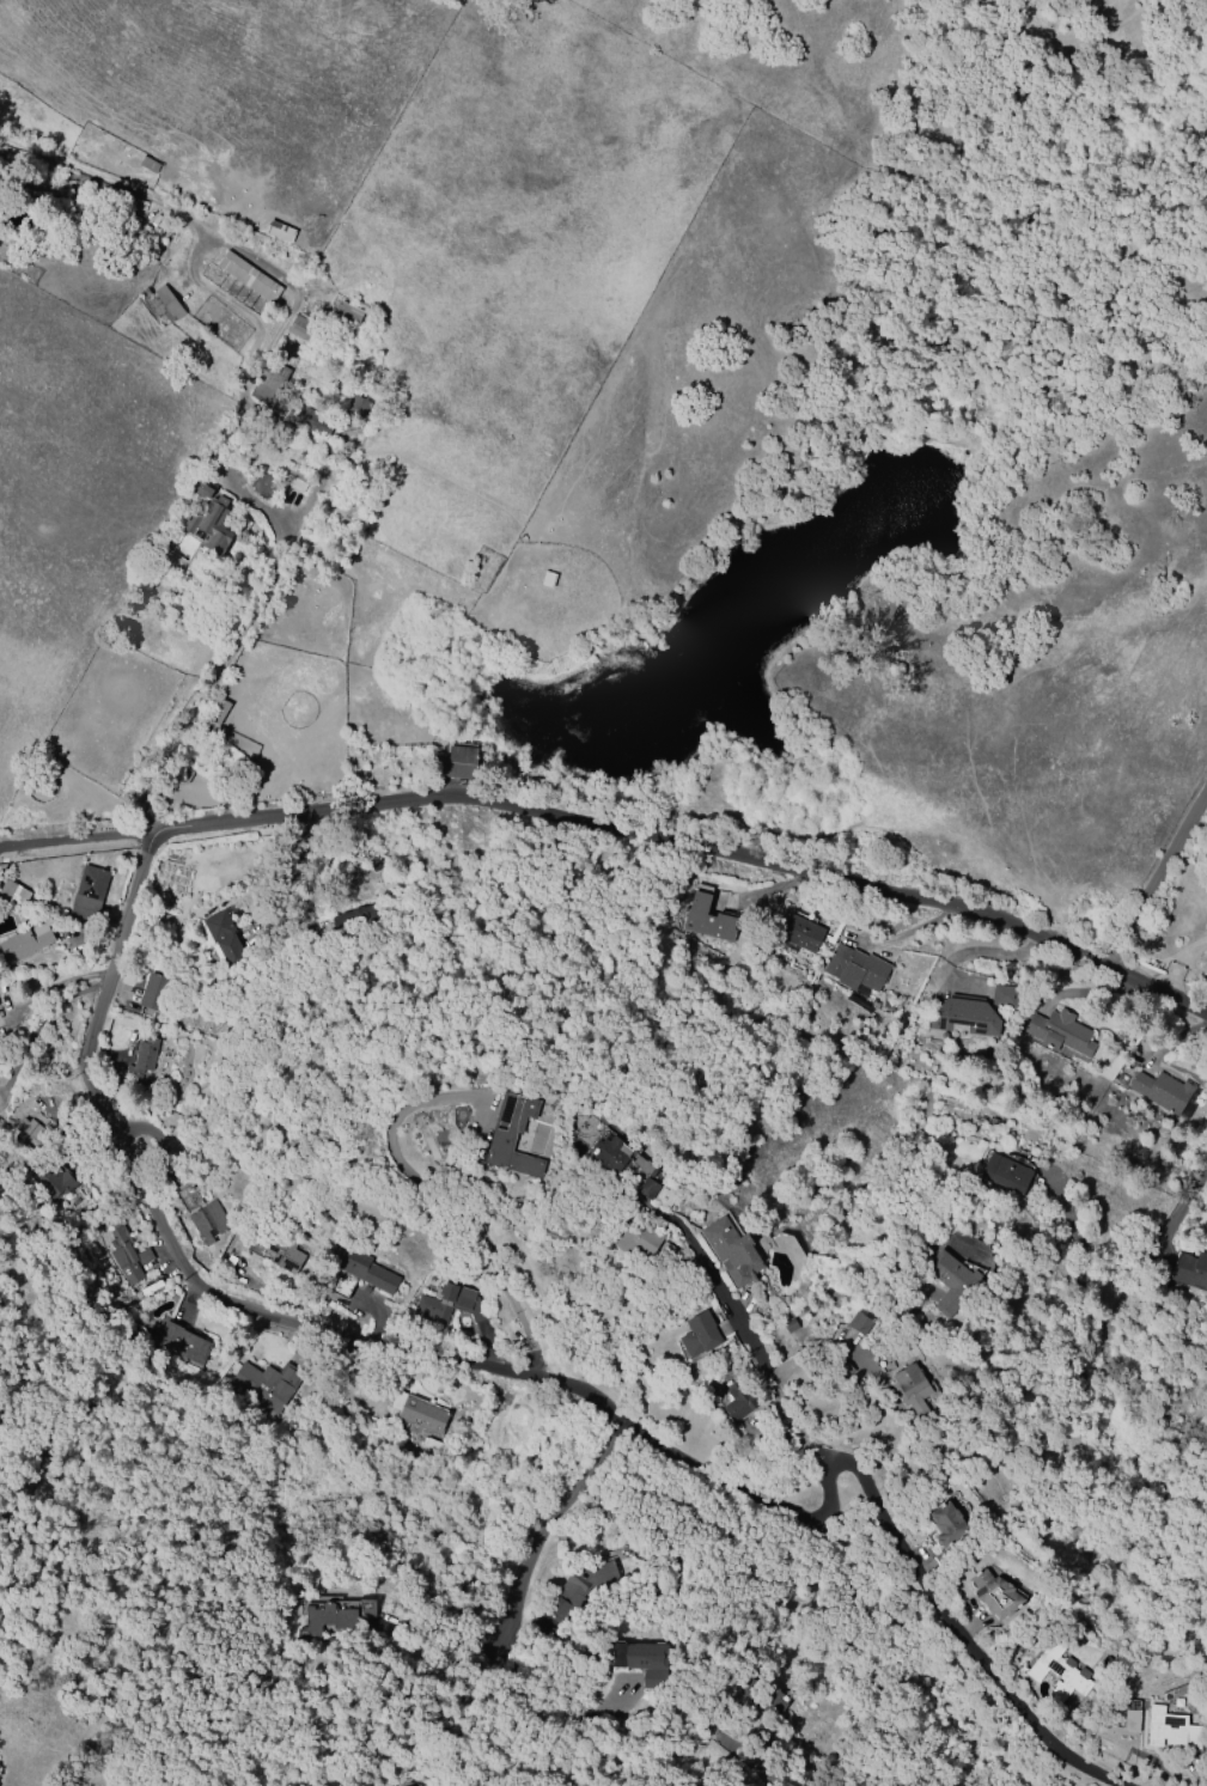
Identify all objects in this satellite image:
building: (148, 165)
building: (279, 231)
building: (248, 278)
building: (144, 293)
building: (164, 305)
building: (346, 313)
building: (300, 329)
building: (268, 382)
building: (355, 409)
building: (311, 422)
road: (230, 447)
building: (293, 478)
building: (263, 486)
building: (197, 488)
building: (208, 525)
building: (218, 712)
building: (458, 763)
building: (182, 774)
road: (614, 833)
road: (1162, 872)
building: (13, 894)
building: (87, 894)
building: (707, 920)
building: (347, 924)
building: (799, 934)
building: (224, 938)
building: (26, 941)
road: (1185, 962)
building: (854, 969)
building: (154, 993)
building: (1002, 996)
building: (963, 1016)
building: (1059, 1032)
building: (141, 1057)
building: (1160, 1091)
building: (25, 1129)
building: (511, 1135)
building: (609, 1154)
building: (1005, 1174)
building: (55, 1182)
building: (646, 1188)
building: (662, 1199)
road: (451, 1202)
building: (208, 1221)
building: (635, 1237)
road: (1166, 1241)
building: (281, 1248)
building: (732, 1252)
building: (128, 1257)
road: (1086, 1264)
building: (1191, 1270)
building: (366, 1273)
building: (950, 1281)
building: (447, 1304)
building: (858, 1323)
building: (790, 1325)
building: (699, 1335)
building: (181, 1343)
road: (807, 1354)
road: (740, 1355)
road: (537, 1371)
building: (263, 1385)
building: (910, 1389)
building: (739, 1400)
building: (417, 1414)
building: (945, 1524)
road: (541, 1525)
building: (577, 1589)
building: (994, 1595)
building: (333, 1614)
road: (432, 1642)
building: (641, 1662)
building: (1059, 1672)
road: (534, 1708)
building: (1170, 1730)
road: (761, 1774)
building: (403, 1784)

